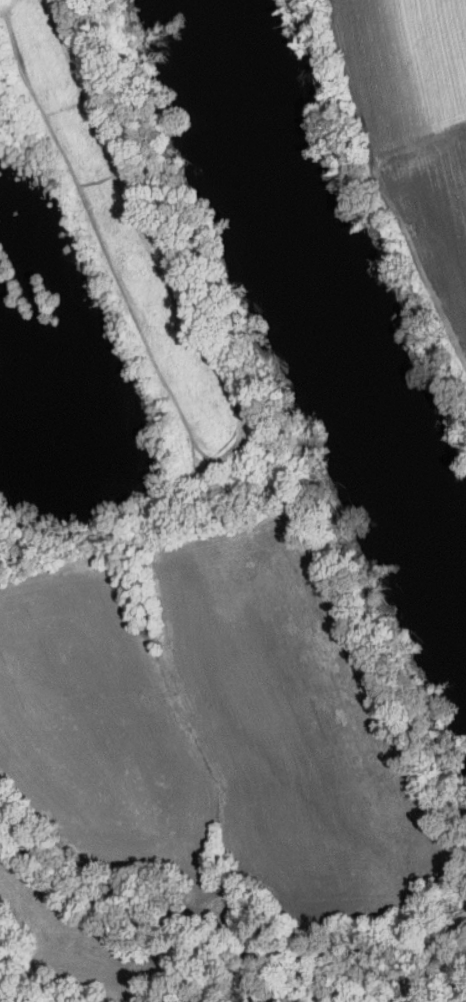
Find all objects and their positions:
road: (383, 189)
river: (336, 296)

